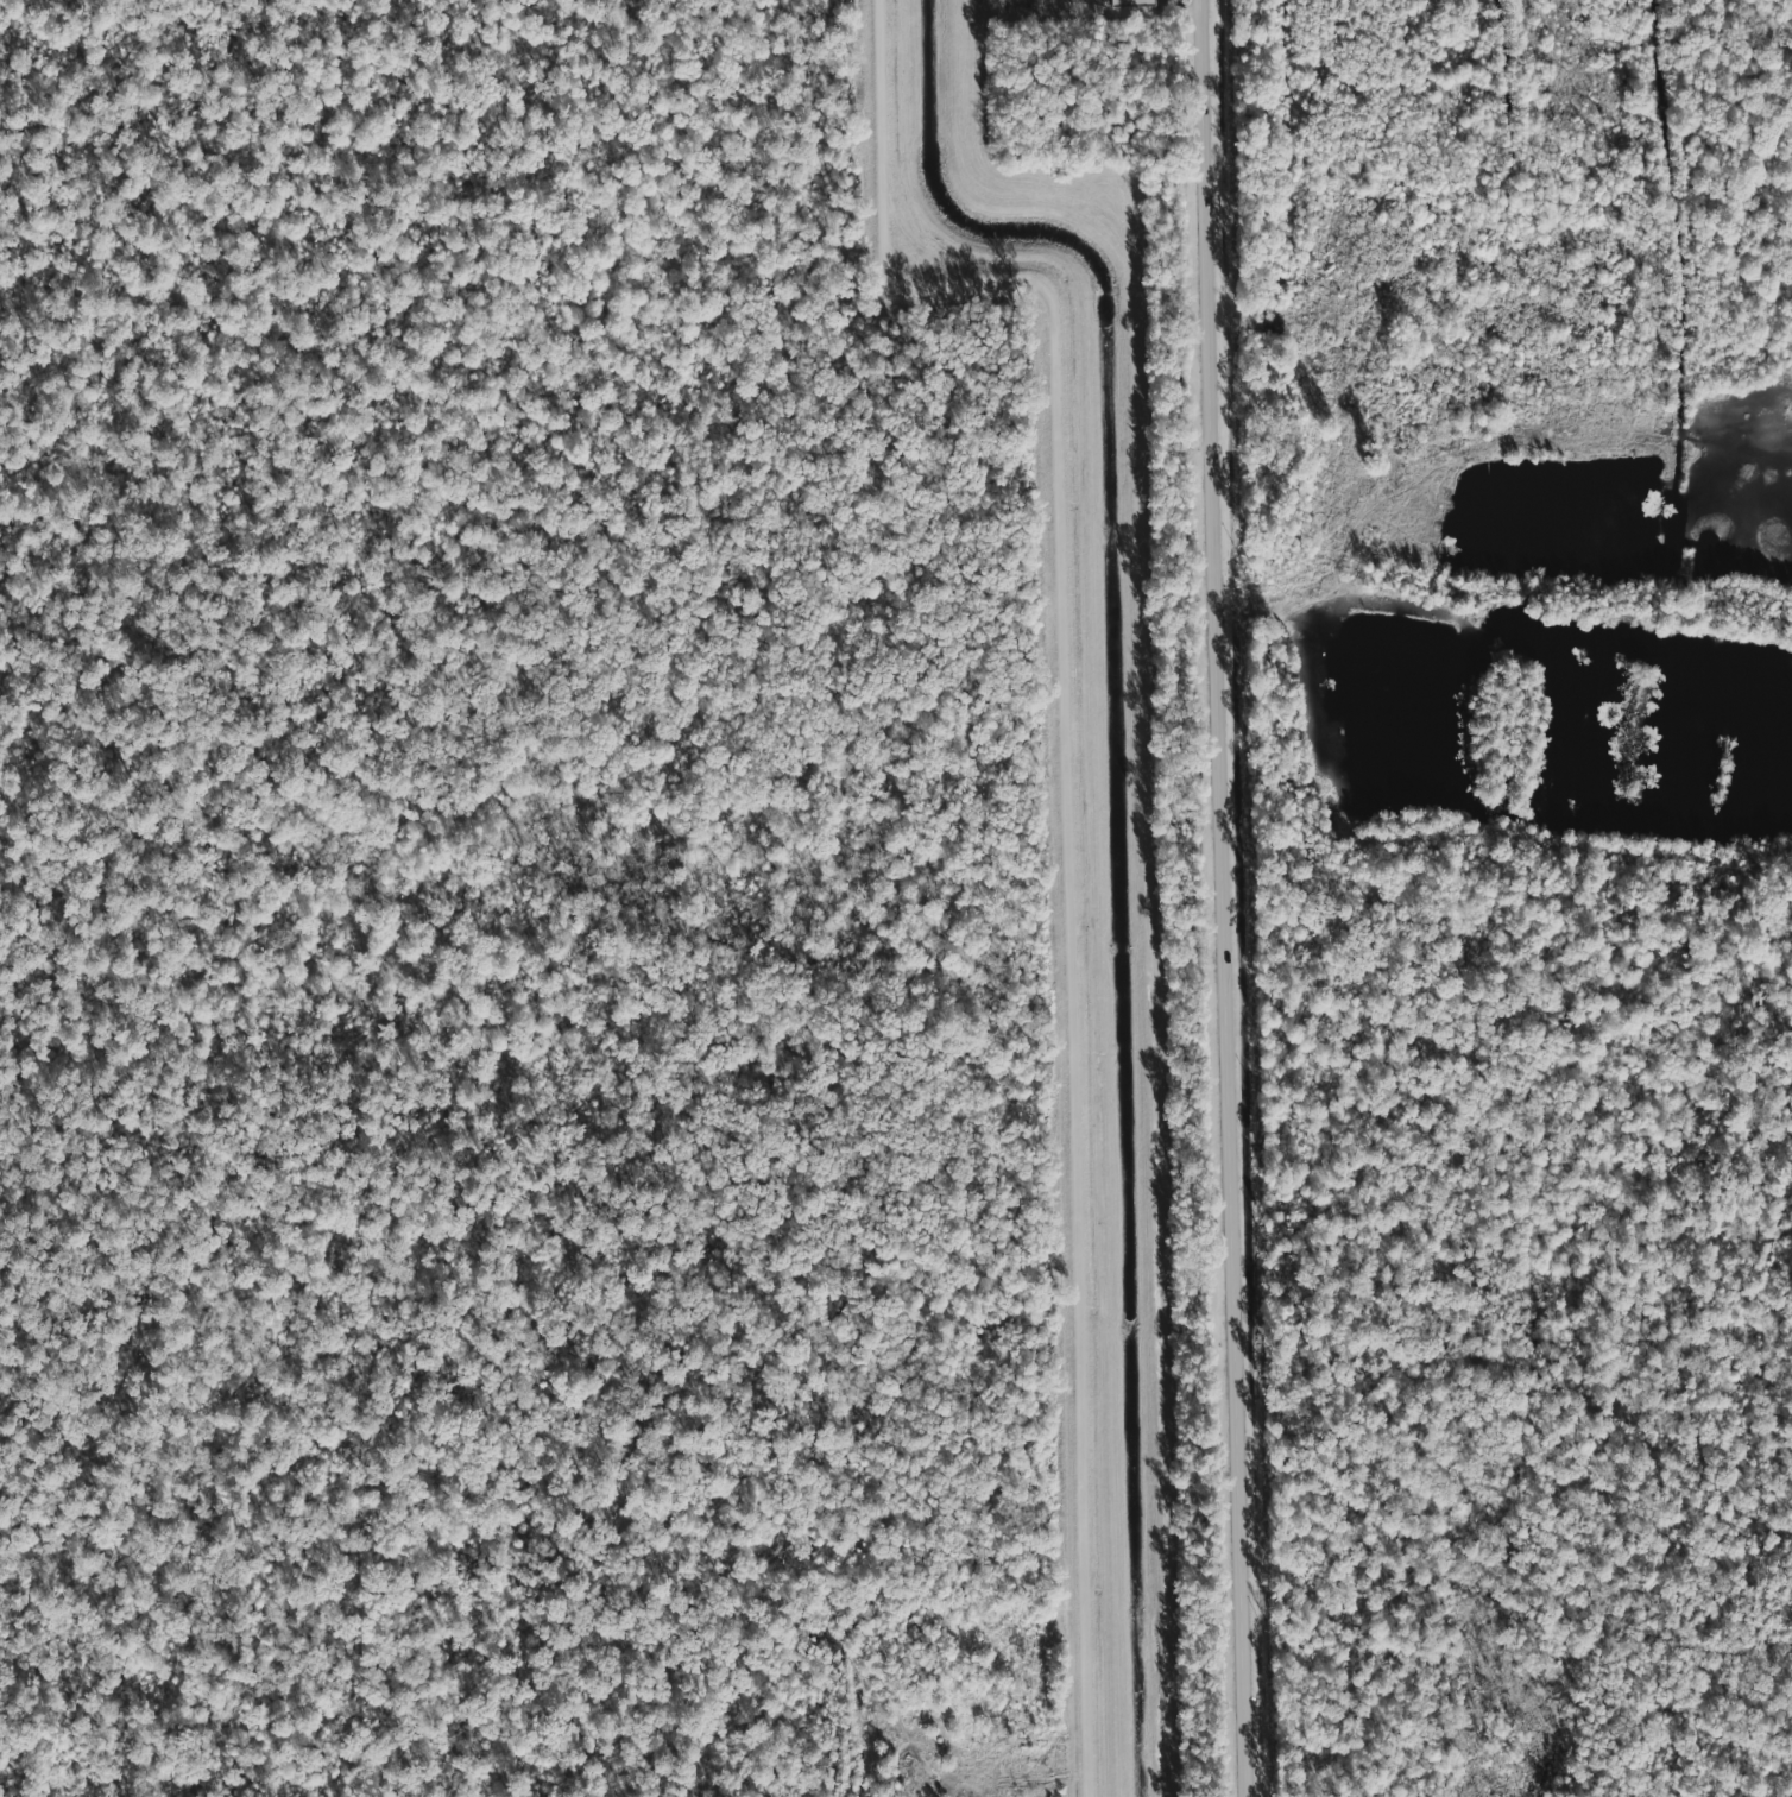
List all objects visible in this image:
building: (1123, 4)
road: (1072, 821)
road: (1222, 898)

